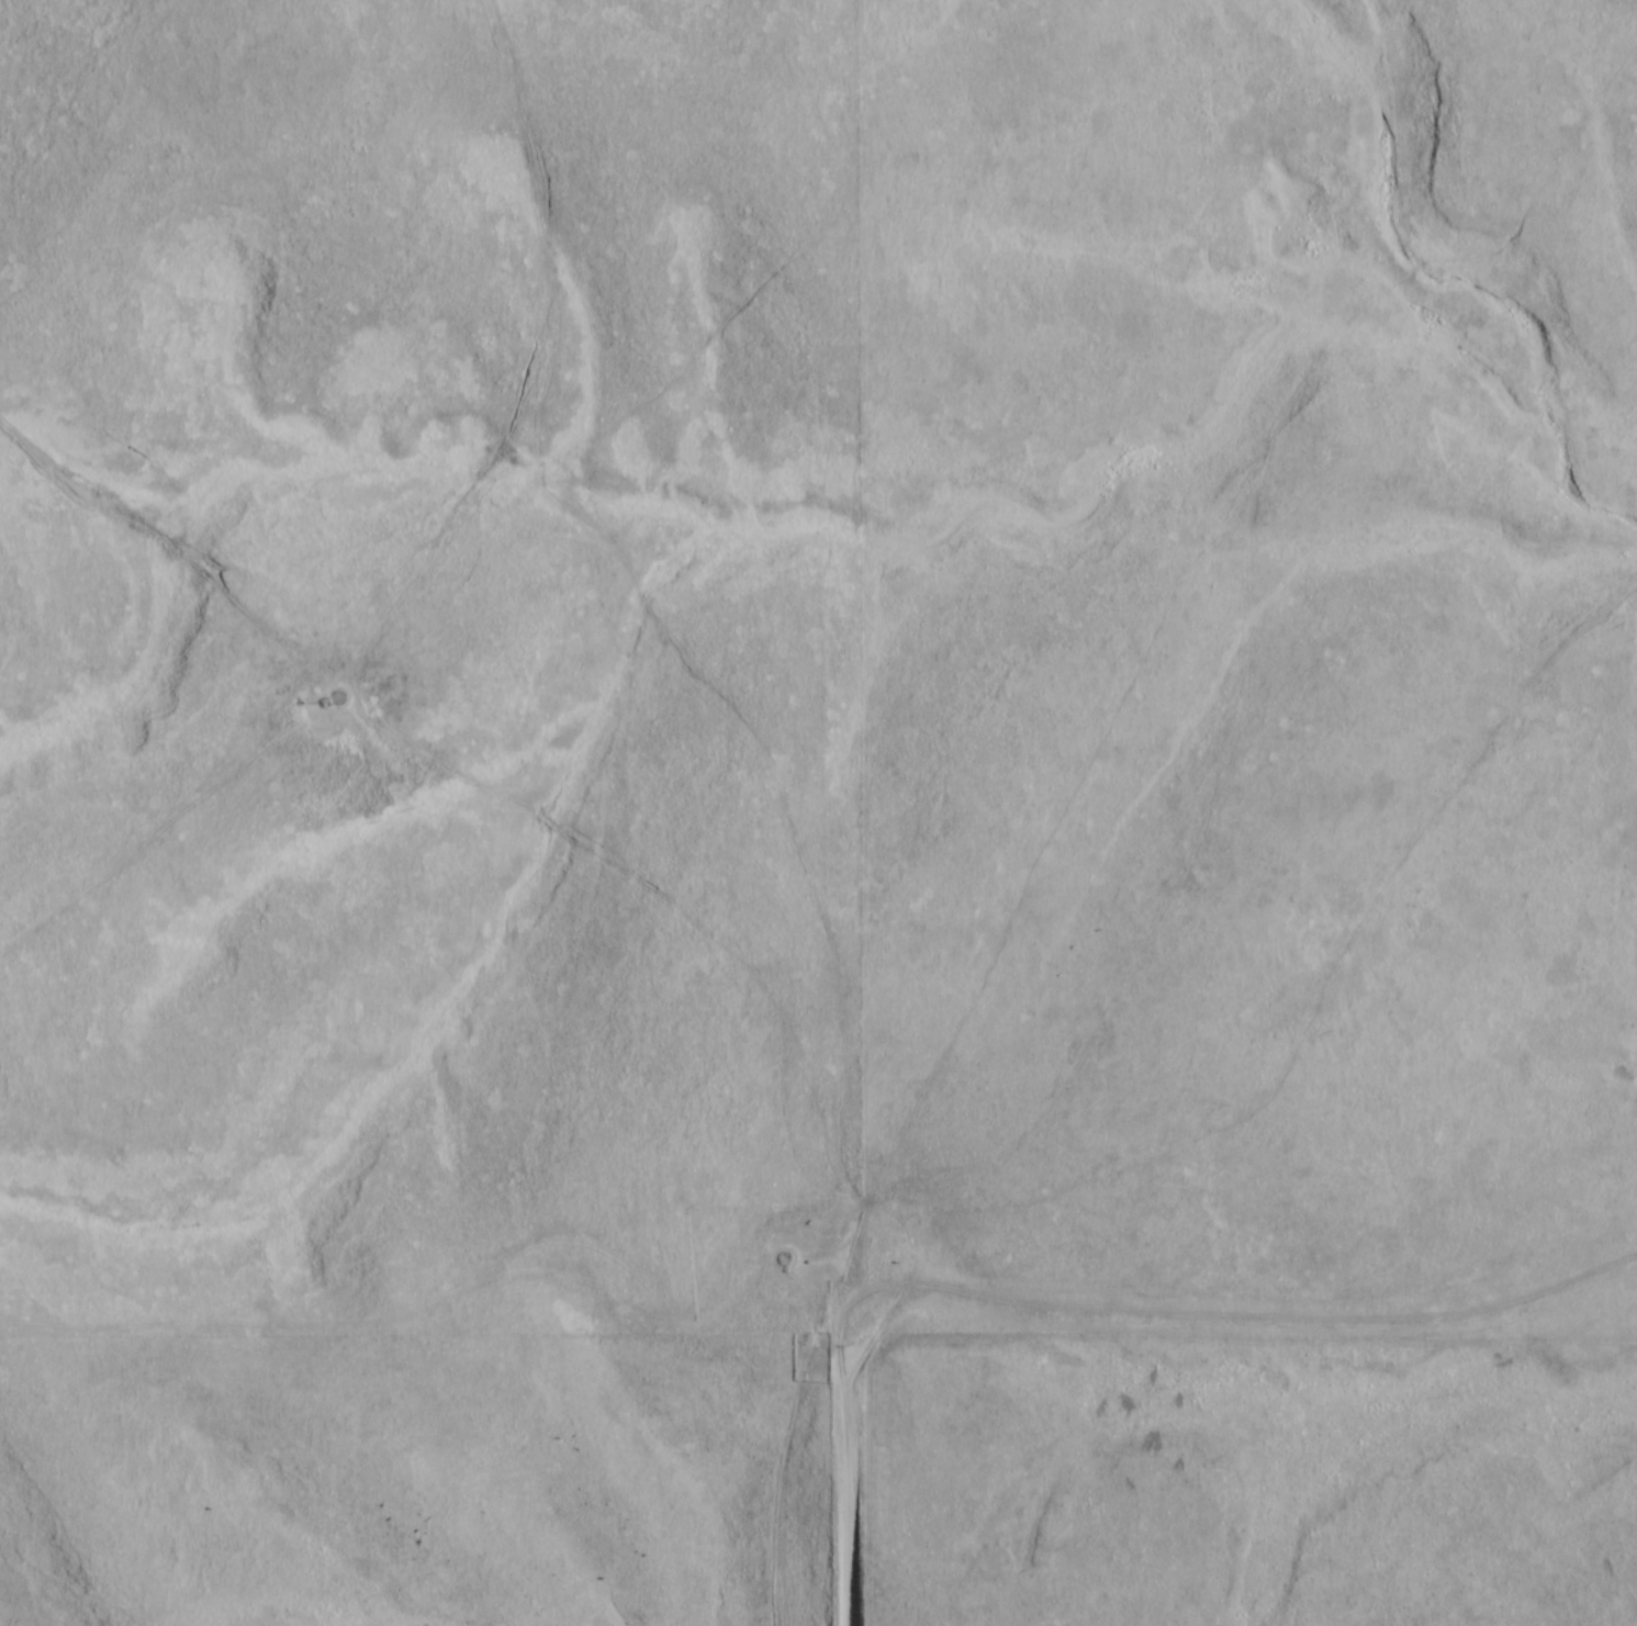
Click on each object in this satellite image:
road: (843, 1447)

